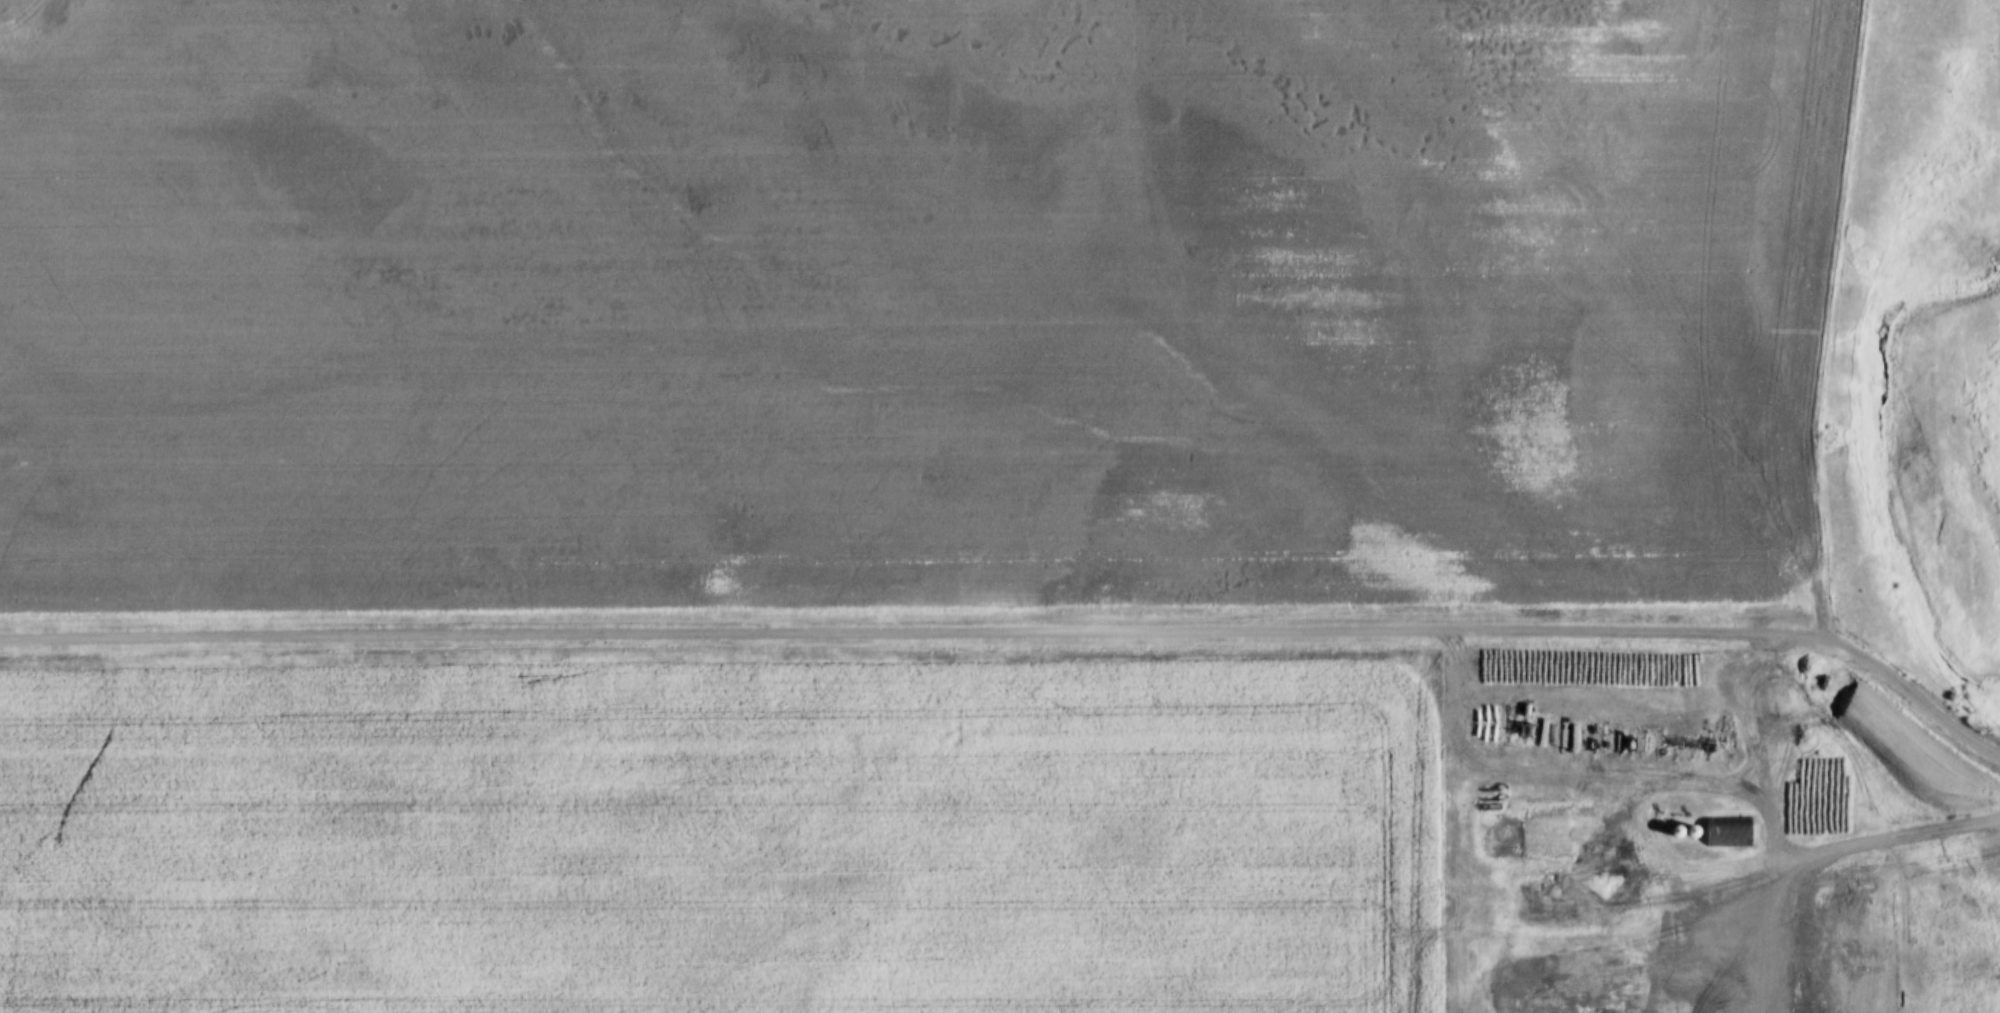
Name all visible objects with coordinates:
road: (1016, 636)
road: (1829, 859)

